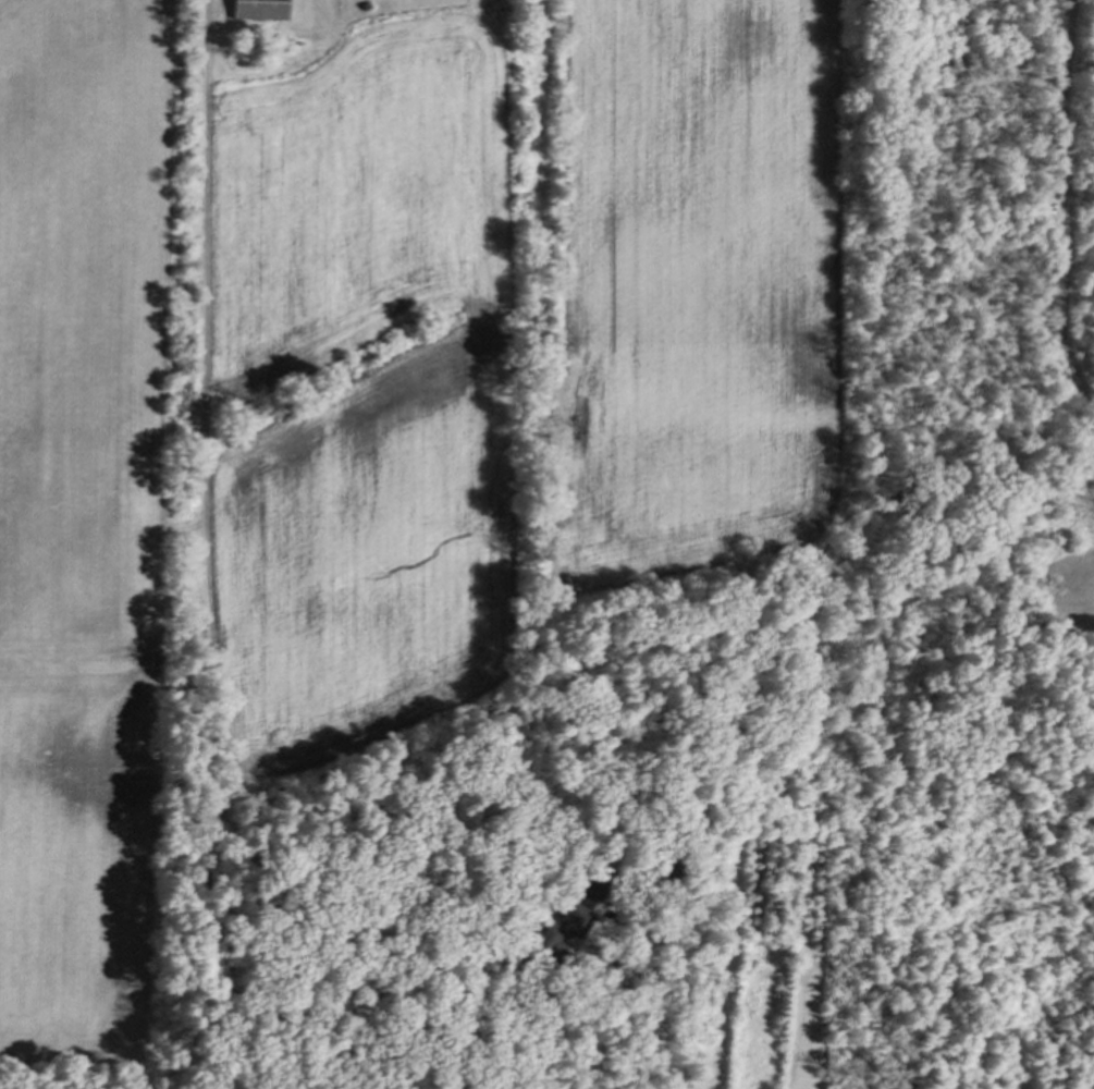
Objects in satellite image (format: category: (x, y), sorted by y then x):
building: (258, 10)
crop: (364, 184)
crop: (692, 279)
crop: (72, 512)
crop: (366, 563)
road: (216, 641)
building: (553, 930)
road: (644, 1021)

